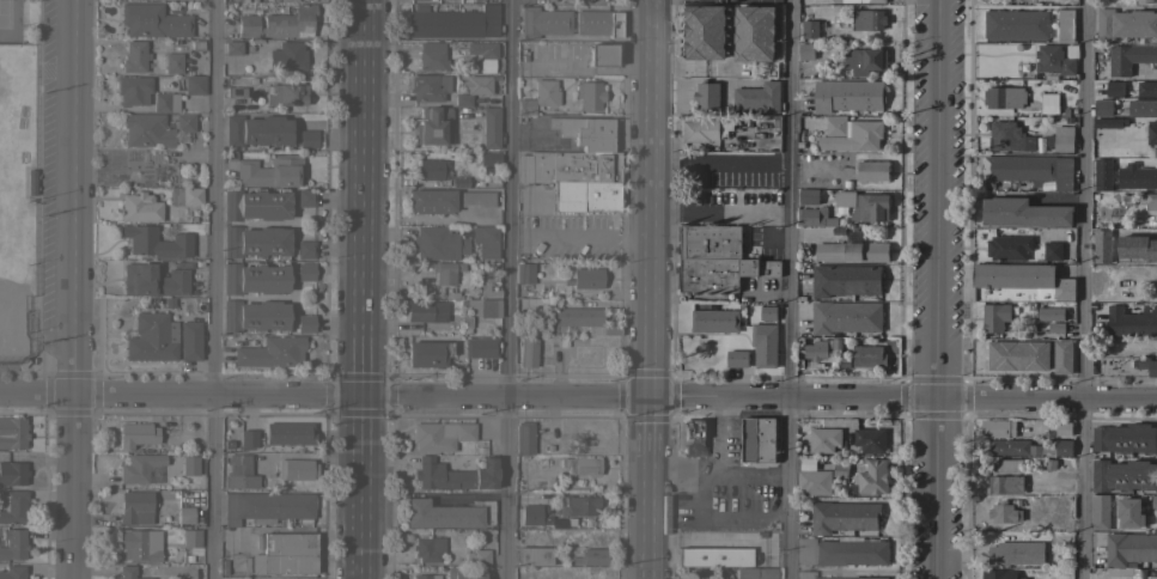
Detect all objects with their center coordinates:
building: (858, 1)
building: (1147, 1)
park: (8, 20)
building: (153, 20)
building: (867, 20)
building: (290, 22)
building: (452, 22)
building: (543, 22)
building: (597, 23)
building: (248, 25)
building: (1015, 25)
building: (1125, 25)
building: (1065, 26)
building: (809, 29)
building: (705, 32)
building: (754, 33)
building: (233, 48)
building: (481, 48)
building: (805, 51)
building: (287, 55)
building: (431, 55)
building: (602, 55)
building: (134, 56)
building: (1128, 59)
building: (1056, 60)
building: (865, 61)
building: (172, 62)
building: (486, 65)
road: (718, 66)
building: (194, 85)
building: (428, 86)
building: (473, 89)
building: (1113, 89)
building: (132, 90)
building: (1146, 90)
building: (235, 91)
building: (285, 93)
building: (589, 95)
building: (706, 96)
building: (538, 97)
building: (1003, 97)
building: (756, 99)
building: (165, 102)
building: (1049, 103)
building: (1102, 108)
building: (1143, 108)
building: (848, 114)
building: (184, 122)
building: (1108, 123)
building: (433, 126)
building: (491, 128)
building: (146, 129)
building: (256, 130)
building: (705, 130)
building: (585, 132)
building: (1151, 133)
building: (306, 138)
building: (1007, 138)
building: (1060, 139)
building: (229, 154)
building: (491, 158)
building: (430, 169)
building: (1028, 170)
building: (269, 171)
building: (872, 171)
building: (1101, 173)
building: (574, 177)
building: (30, 182)
park: (17, 183)
building: (456, 183)
building: (1152, 183)
building: (185, 196)
building: (808, 196)
building: (305, 197)
road: (363, 197)
building: (445, 200)
building: (1150, 201)
building: (255, 203)
building: (861, 206)
building: (139, 207)
building: (1023, 213)
building: (170, 214)
building: (190, 214)
building: (814, 218)
building: (485, 240)
building: (154, 242)
building: (255, 242)
building: (710, 242)
building: (1149, 242)
building: (439, 243)
building: (1007, 248)
building: (305, 249)
building: (852, 250)
building: (1052, 251)
building: (305, 270)
building: (446, 272)
building: (524, 273)
building: (721, 273)
building: (254, 278)
building: (587, 278)
building: (153, 280)
building: (845, 280)
building: (486, 281)
building: (1019, 284)
road: (650, 288)
road: (934, 288)
road: (1083, 288)
road: (68, 289)
road: (212, 289)
road: (507, 289)
road: (787, 289)
building: (450, 295)
building: (482, 306)
building: (425, 310)
building: (768, 313)
building: (1051, 315)
building: (254, 316)
building: (994, 317)
building: (845, 318)
building: (584, 319)
building: (713, 321)
building: (1132, 322)
building: (305, 323)
building: (1054, 328)
building: (151, 337)
building: (189, 340)
building: (835, 343)
building: (763, 345)
building: (480, 347)
building: (815, 351)
building: (270, 352)
building: (426, 353)
building: (529, 354)
building: (867, 356)
building: (1016, 356)
building: (736, 359)
building: (1146, 365)
road: (786, 376)
road: (181, 395)
traffic signals: (363, 396)
road: (505, 396)
traffic signals: (650, 397)
road: (902, 398)
building: (995, 428)
building: (1061, 429)
building: (12, 431)
building: (288, 432)
building: (135, 433)
building: (439, 434)
building: (248, 437)
building: (523, 437)
building: (694, 437)
building: (1125, 439)
building: (757, 440)
building: (822, 440)
building: (870, 440)
building: (226, 444)
building: (1012, 447)
building: (1062, 447)
building: (188, 464)
building: (486, 464)
building: (581, 464)
building: (1007, 465)
building: (138, 467)
building: (294, 468)
building: (239, 471)
building: (428, 471)
building: (12, 473)
building: (1122, 476)
building: (872, 477)
building: (814, 482)
building: (1005, 484)
road: (361, 487)
building: (195, 498)
building: (1153, 502)
building: (579, 505)
building: (13, 506)
building: (135, 506)
building: (266, 506)
building: (1100, 512)
building: (1128, 512)
building: (446, 513)
building: (529, 513)
building: (1004, 513)
building: (184, 514)
building: (842, 517)
building: (544, 519)
building: (558, 523)
building: (190, 537)
building: (12, 543)
building: (139, 544)
building: (427, 548)
building: (1129, 549)
building: (840, 551)
building: (1016, 553)
building: (284, 554)
building: (532, 555)
building: (476, 556)
building: (591, 556)
building: (726, 556)
building: (12, 572)
building: (128, 572)
building: (715, 572)
building: (463, 573)
building: (745, 573)
building: (767, 573)
building: (805, 573)
building: (695, 574)
building: (998, 574)
building: (1150, 574)
building: (426, 577)

